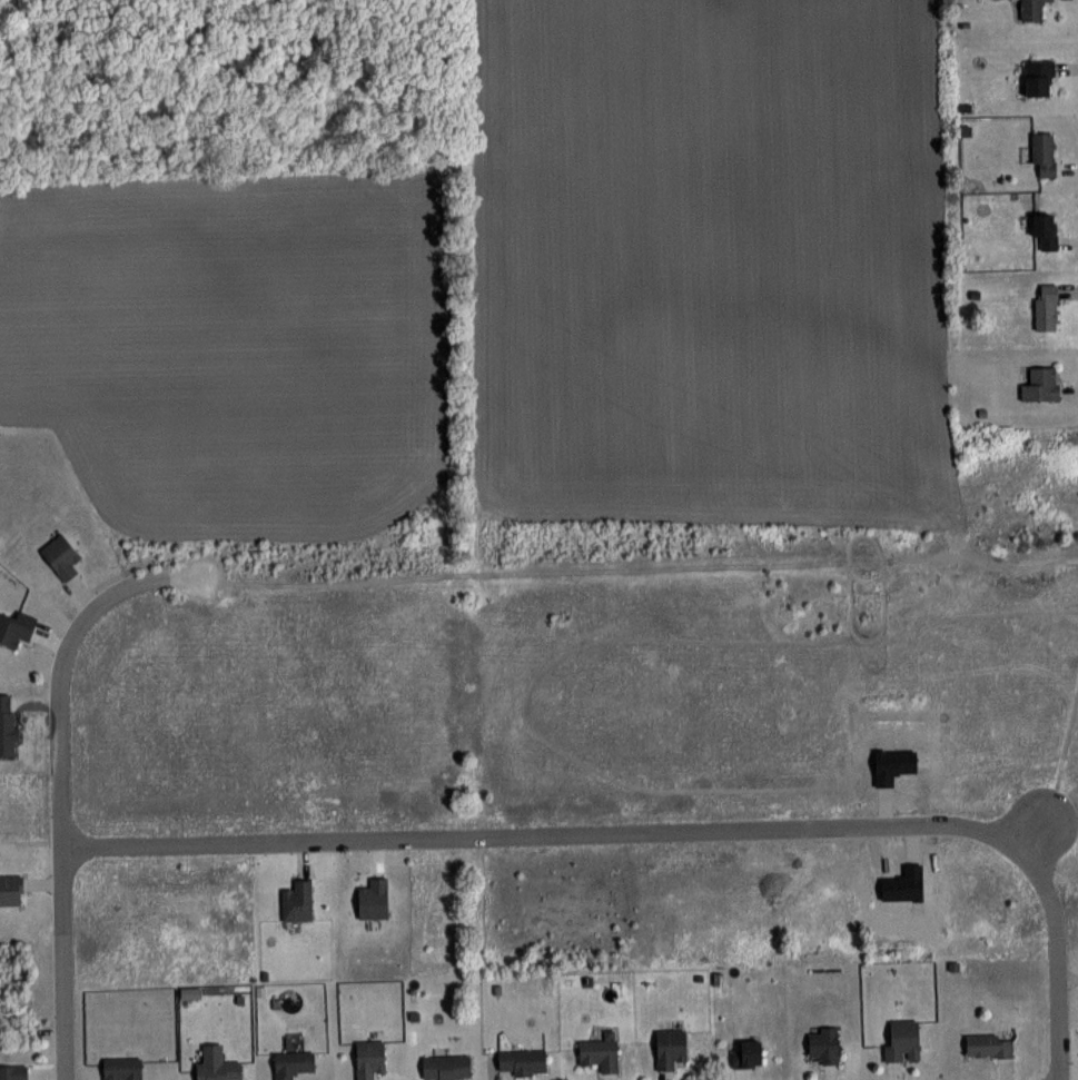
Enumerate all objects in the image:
building: (1031, 9)
building: (1038, 77)
building: (1044, 153)
building: (1045, 229)
crop: (526, 296)
building: (1046, 307)
building: (1040, 385)
building: (61, 556)
building: (16, 627)
road: (1060, 745)
road: (56, 782)
road: (676, 831)
building: (10, 890)
building: (297, 901)
building: (902, 1039)
building: (823, 1044)
building: (989, 1044)
building: (669, 1048)
building: (600, 1052)
building: (748, 1053)
building: (369, 1058)
building: (522, 1062)
building: (293, 1063)
building: (446, 1067)
building: (122, 1069)
building: (219, 1071)
building: (13, 1072)

